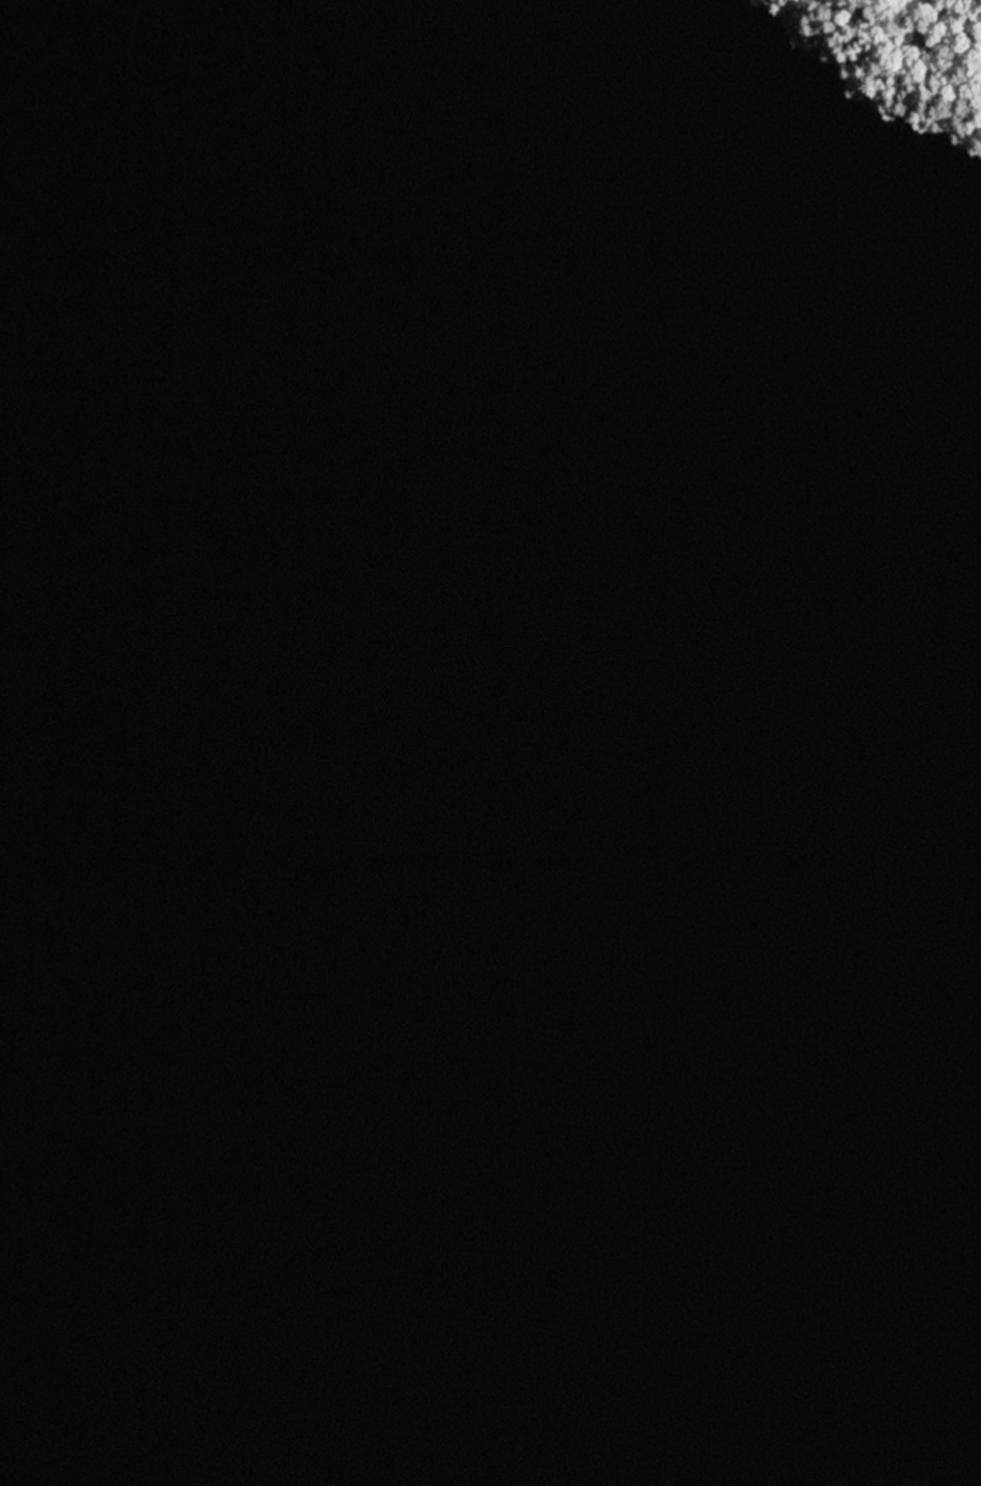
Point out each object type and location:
river: (486, 1410)

